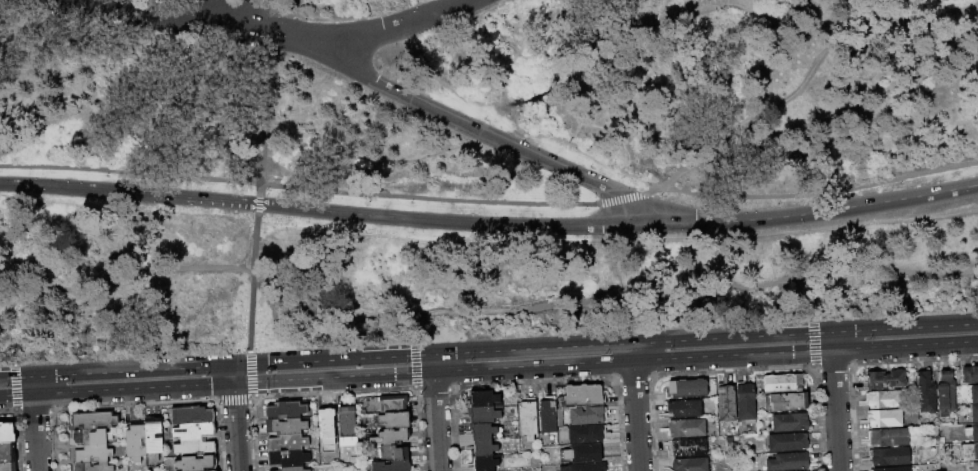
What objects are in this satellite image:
road: (463, 1)
road: (370, 7)
road: (798, 9)
road: (896, 9)
road: (216, 18)
road: (454, 21)
road: (876, 21)
road: (385, 28)
road: (393, 28)
road: (403, 43)
road: (943, 44)
road: (575, 59)
road: (789, 91)
road: (272, 101)
road: (135, 118)
road: (502, 140)
road: (717, 150)
road: (570, 151)
park: (475, 170)
road: (298, 189)
road: (129, 191)
road: (817, 198)
road: (622, 199)
road: (618, 225)
road: (616, 242)
road: (789, 268)
road: (624, 269)
road: (124, 276)
road: (251, 285)
road: (614, 297)
road: (832, 341)
road: (488, 349)
road: (632, 352)
traffic signals: (266, 362)
road: (433, 363)
road: (489, 370)
road: (233, 374)
building: (970, 374)
building: (885, 379)
building: (783, 384)
road: (32, 385)
traffic signals: (209, 387)
building: (685, 389)
building: (945, 391)
building: (926, 392)
building: (974, 394)
building: (581, 395)
building: (482, 399)
building: (882, 399)
building: (745, 400)
building: (725, 401)
building: (787, 401)
building: (393, 403)
traffic signals: (235, 405)
building: (285, 409)
building: (682, 409)
road: (836, 411)
building: (974, 413)
building: (191, 414)
building: (483, 414)
building: (549, 414)
building: (586, 415)
road: (635, 416)
building: (883, 418)
building: (395, 419)
building: (528, 419)
building: (92, 420)
building: (326, 421)
road: (436, 422)
building: (788, 422)
building: (285, 426)
road: (236, 427)
building: (684, 428)
building: (347, 429)
building: (194, 430)
building: (480, 431)
building: (7, 432)
building: (972, 432)
road: (34, 433)
building: (585, 433)
building: (153, 434)
building: (390, 436)
building: (89, 437)
building: (887, 437)
building: (136, 441)
building: (287, 441)
building: (786, 442)
building: (194, 446)
building: (481, 447)
building: (688, 447)
building: (395, 451)
building: (970, 451)
building: (7, 452)
building: (89, 453)
building: (583, 453)
building: (888, 456)
building: (287, 457)
building: (789, 462)
building: (196, 463)
building: (483, 463)
building: (689, 464)
building: (391, 465)
building: (8, 466)
building: (93, 466)
building: (975, 466)
building: (584, 467)
building: (72, 468)
building: (288, 468)
building: (892, 468)
building: (666, 469)
building: (801, 470)

